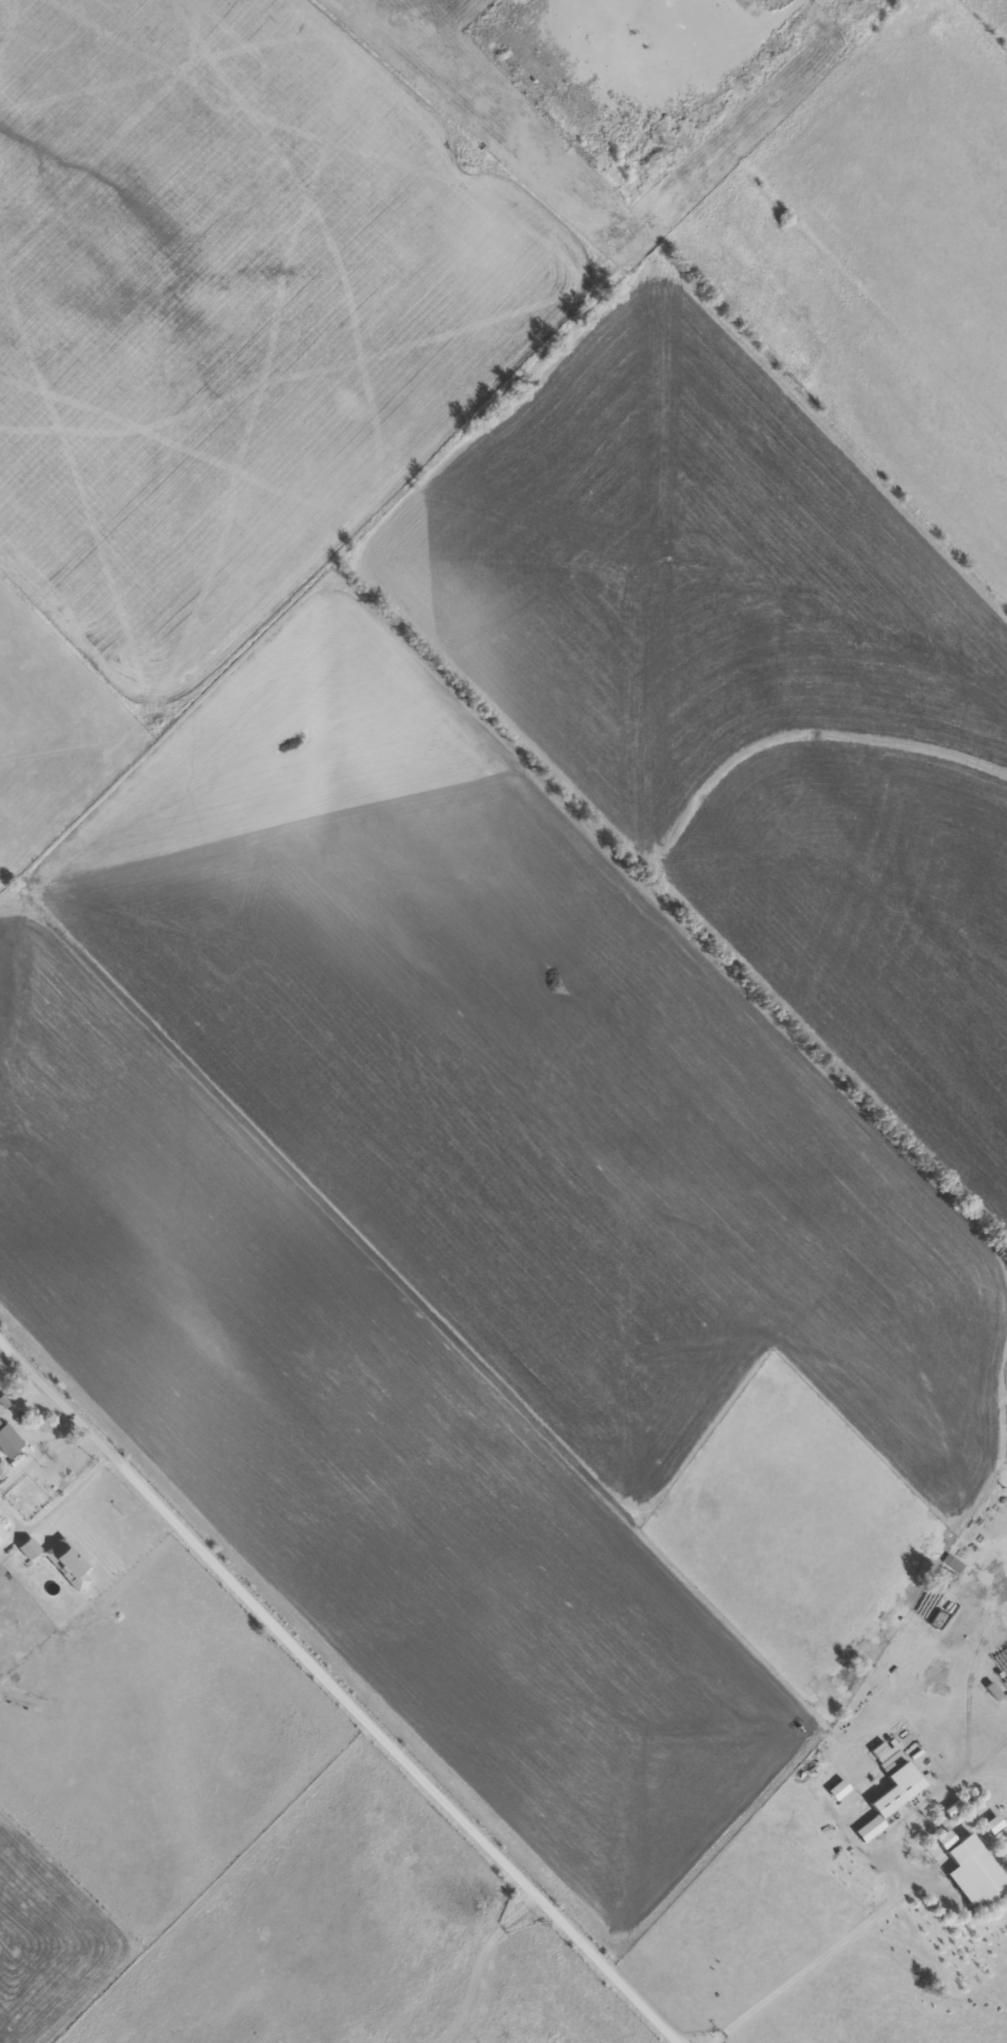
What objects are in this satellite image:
road: (692, 76)
building: (8, 1439)
road: (336, 1683)
building: (909, 1783)
building: (974, 1871)
road: (881, 1910)

